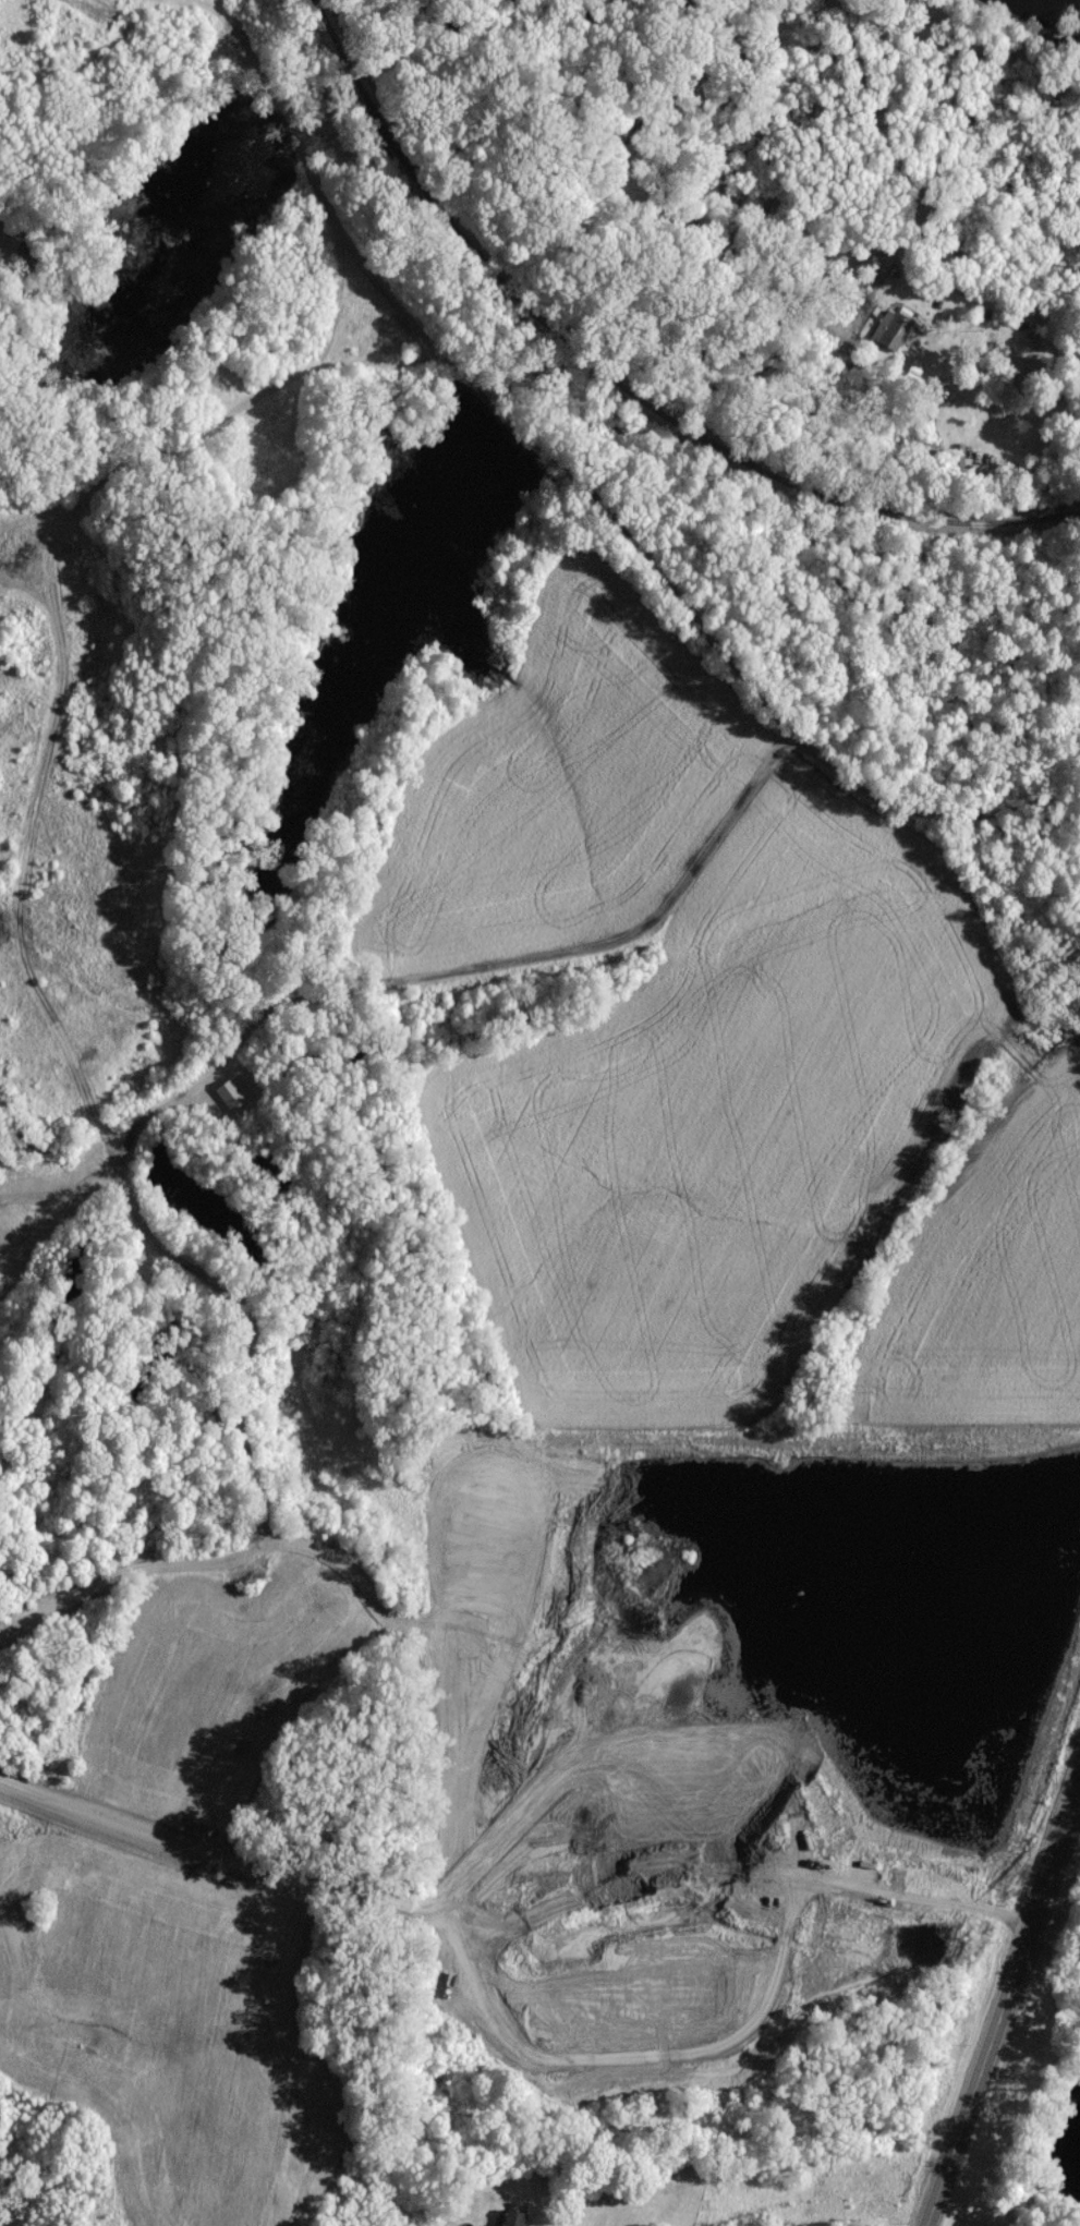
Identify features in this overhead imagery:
building: (889, 332)
railway: (609, 390)
road: (1002, 414)
building: (228, 1101)
building: (756, 1819)
building: (860, 1824)
road: (931, 1906)
road: (1004, 2011)
building: (511, 2221)

